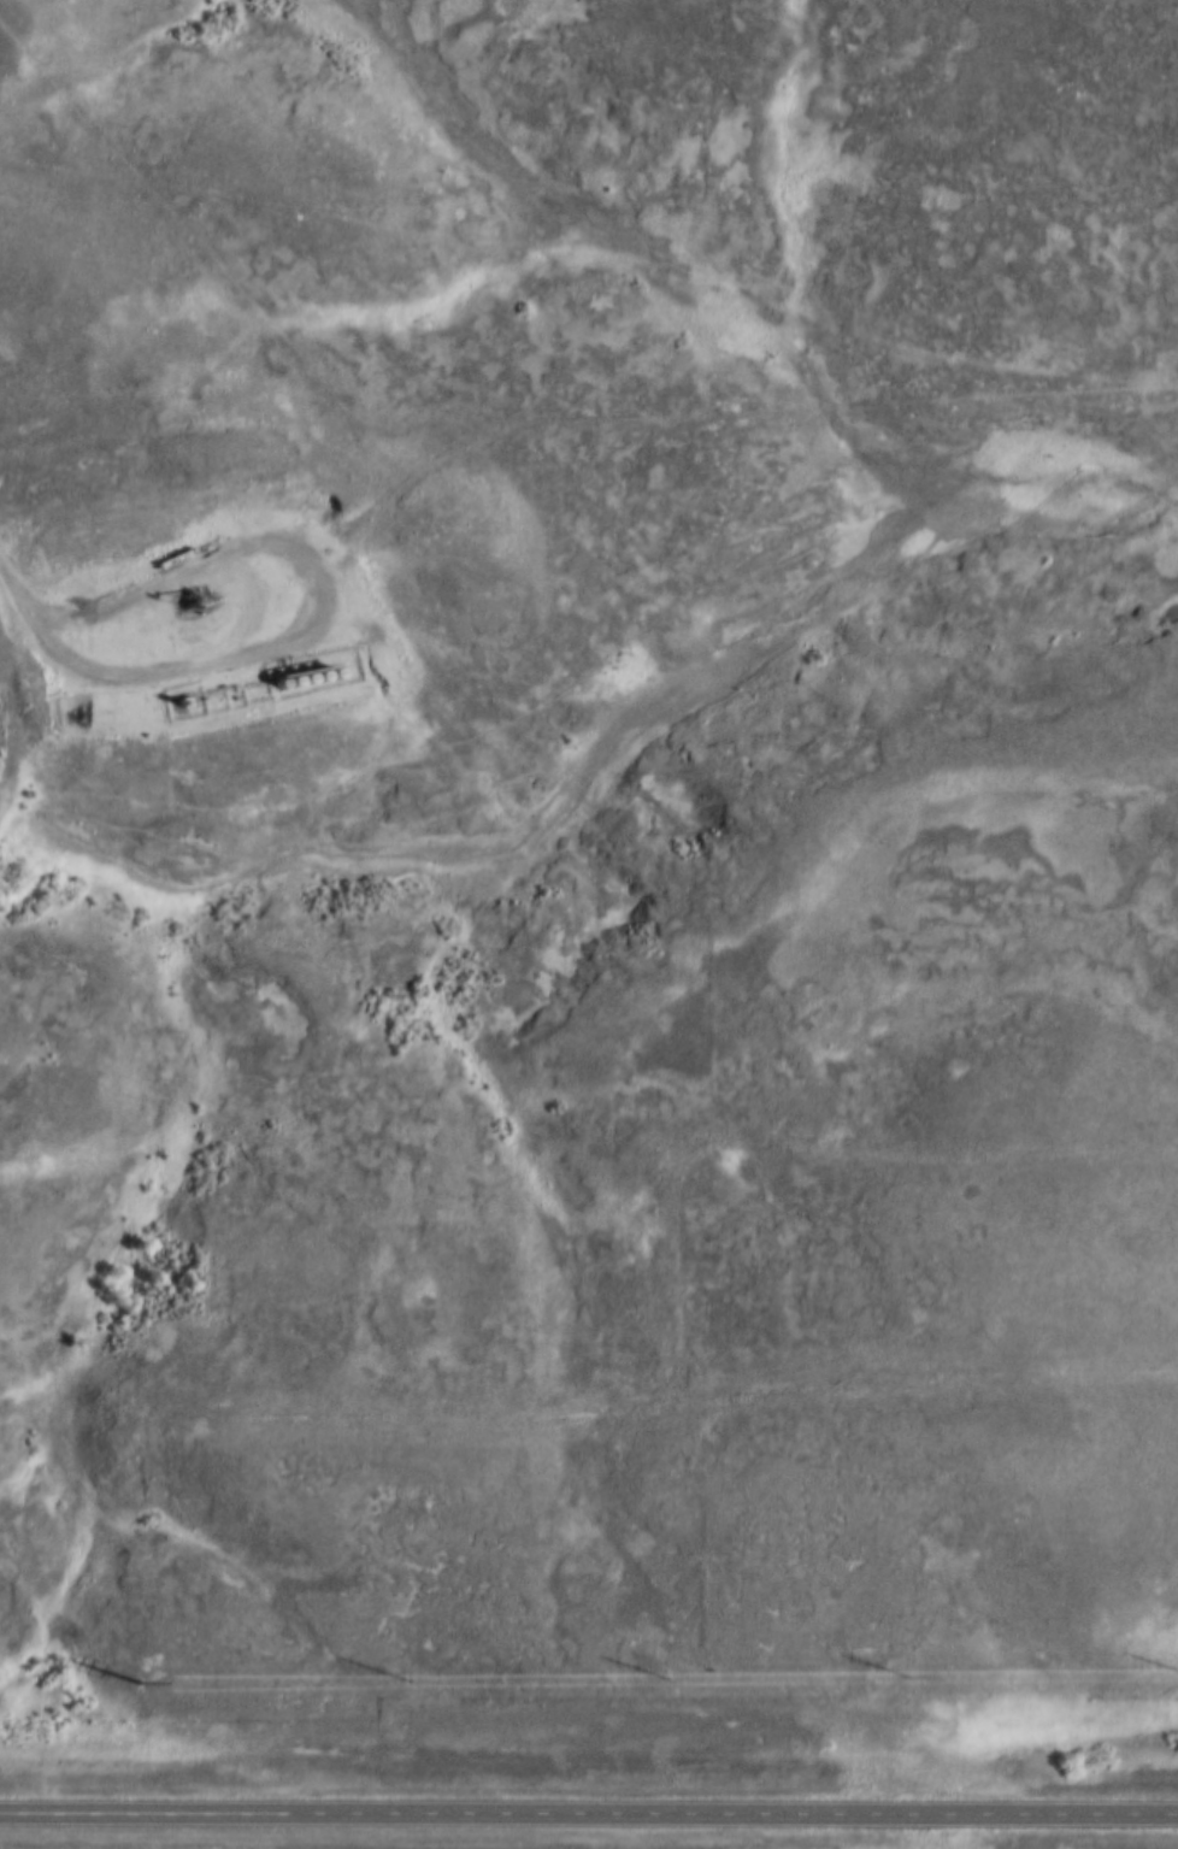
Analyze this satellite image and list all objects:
road: (126, 590)
road: (588, 1818)

